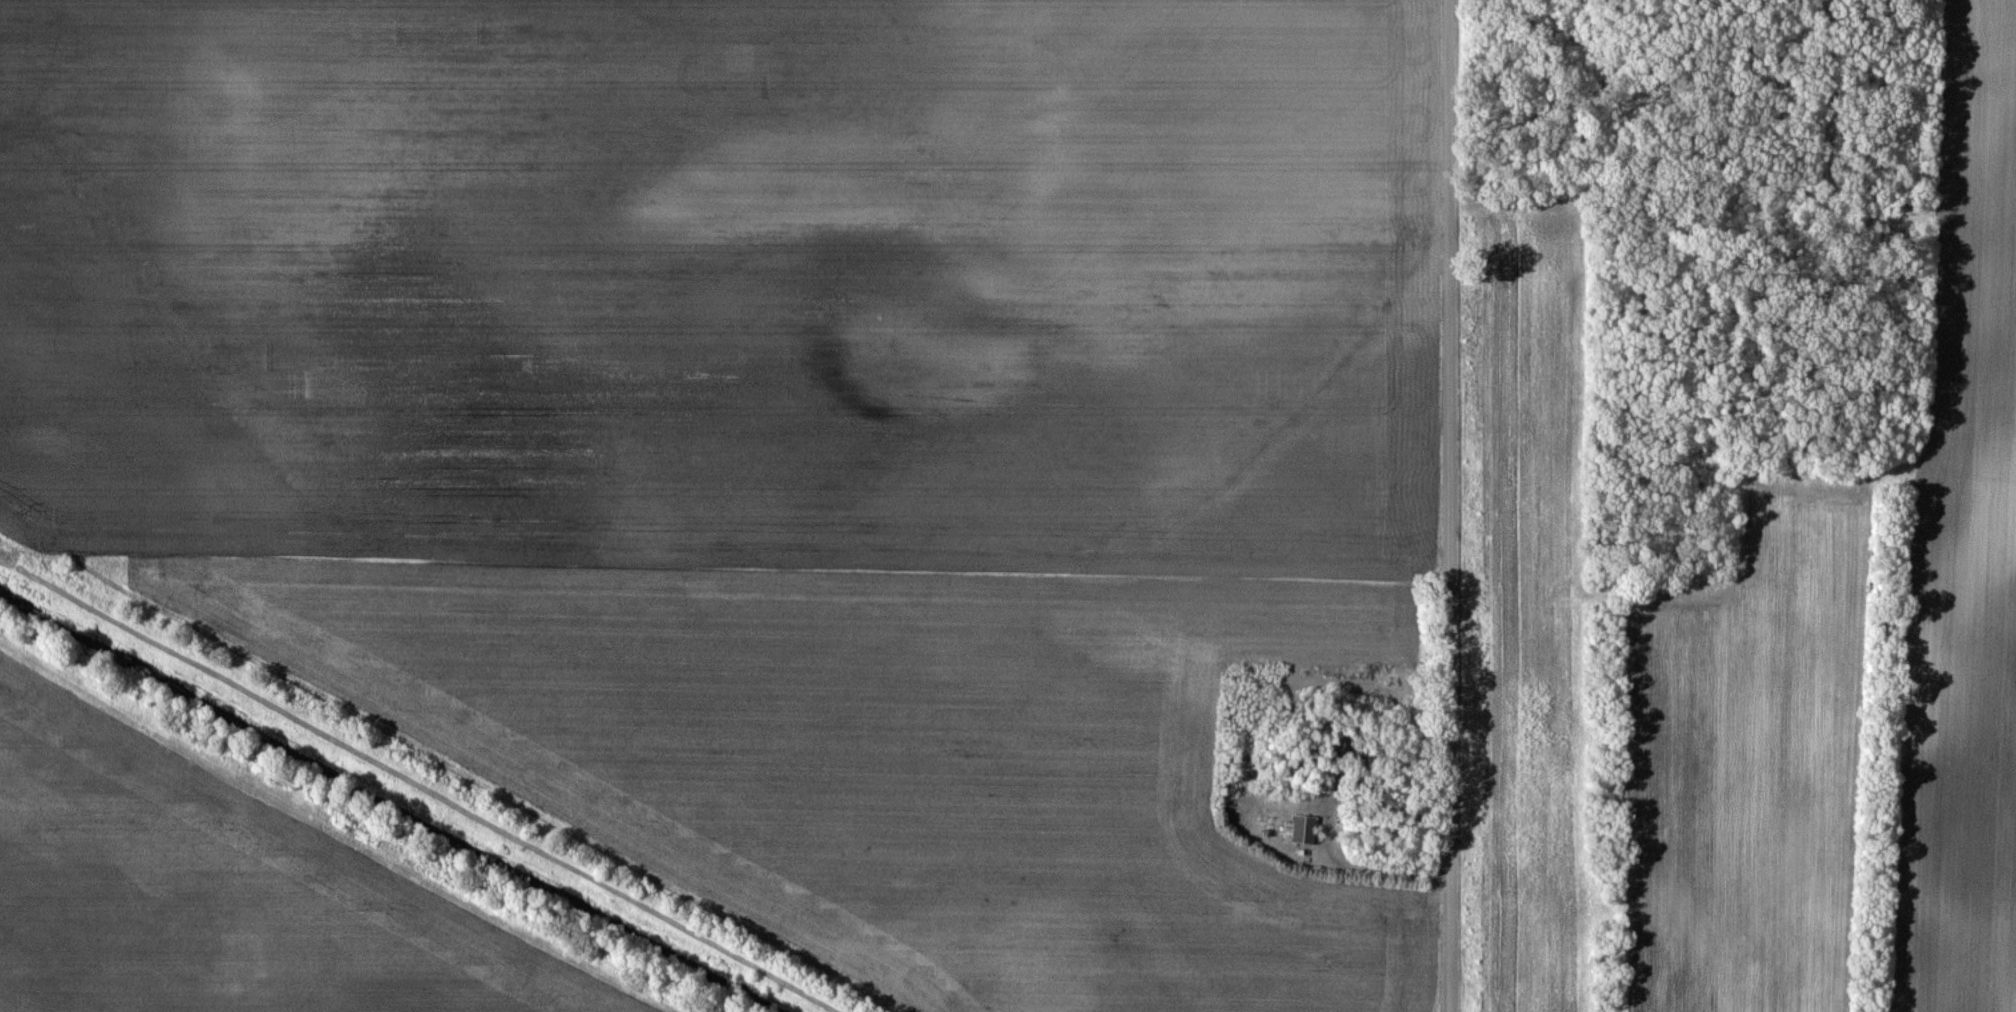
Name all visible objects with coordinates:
road: (1454, 505)
building: (1297, 830)
road: (1386, 864)

